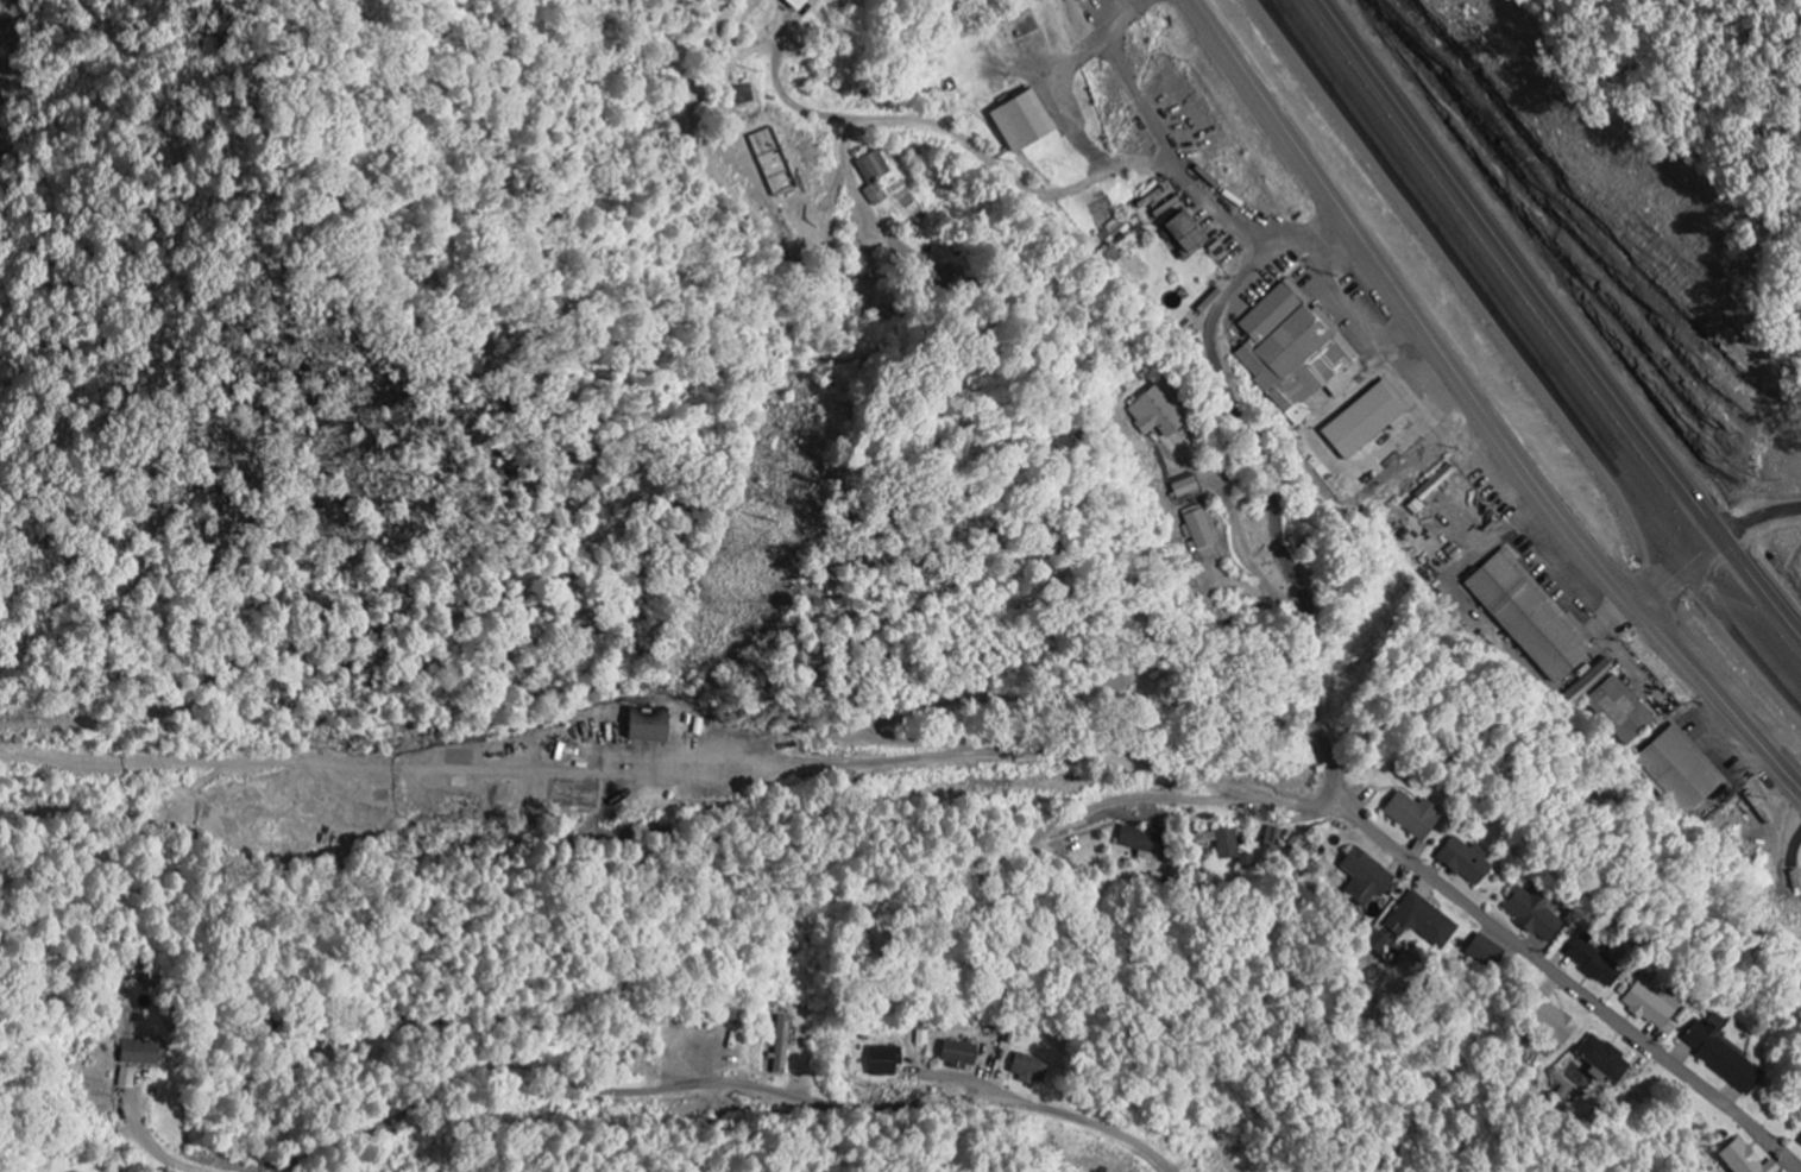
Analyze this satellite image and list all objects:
building: (1075, 0)
building: (794, 5)
building: (743, 96)
building: (1020, 124)
road: (1184, 160)
building: (871, 178)
building: (1166, 213)
building: (1183, 234)
road: (1531, 348)
building: (1291, 351)
road: (1480, 403)
building: (1155, 415)
building: (1365, 421)
building: (1185, 489)
building: (1196, 530)
building: (1526, 616)
building: (1587, 683)
building: (1619, 711)
building: (647, 725)
road: (987, 750)
building: (1679, 770)
road: (1337, 786)
building: (1411, 815)
building: (1271, 837)
building: (1141, 843)
building: (1220, 843)
building: (1463, 861)
building: (1365, 876)
building: (1531, 914)
building: (1421, 922)
road: (800, 924)
building: (1484, 951)
building: (1592, 963)
building: (1649, 1006)
building: (1548, 1019)
building: (781, 1046)
building: (137, 1053)
building: (957, 1054)
building: (1720, 1058)
building: (1601, 1060)
building: (883, 1061)
building: (1027, 1070)
building: (126, 1078)
road: (850, 1107)
road: (401, 1115)
building: (1800, 1142)
building: (1742, 1159)

